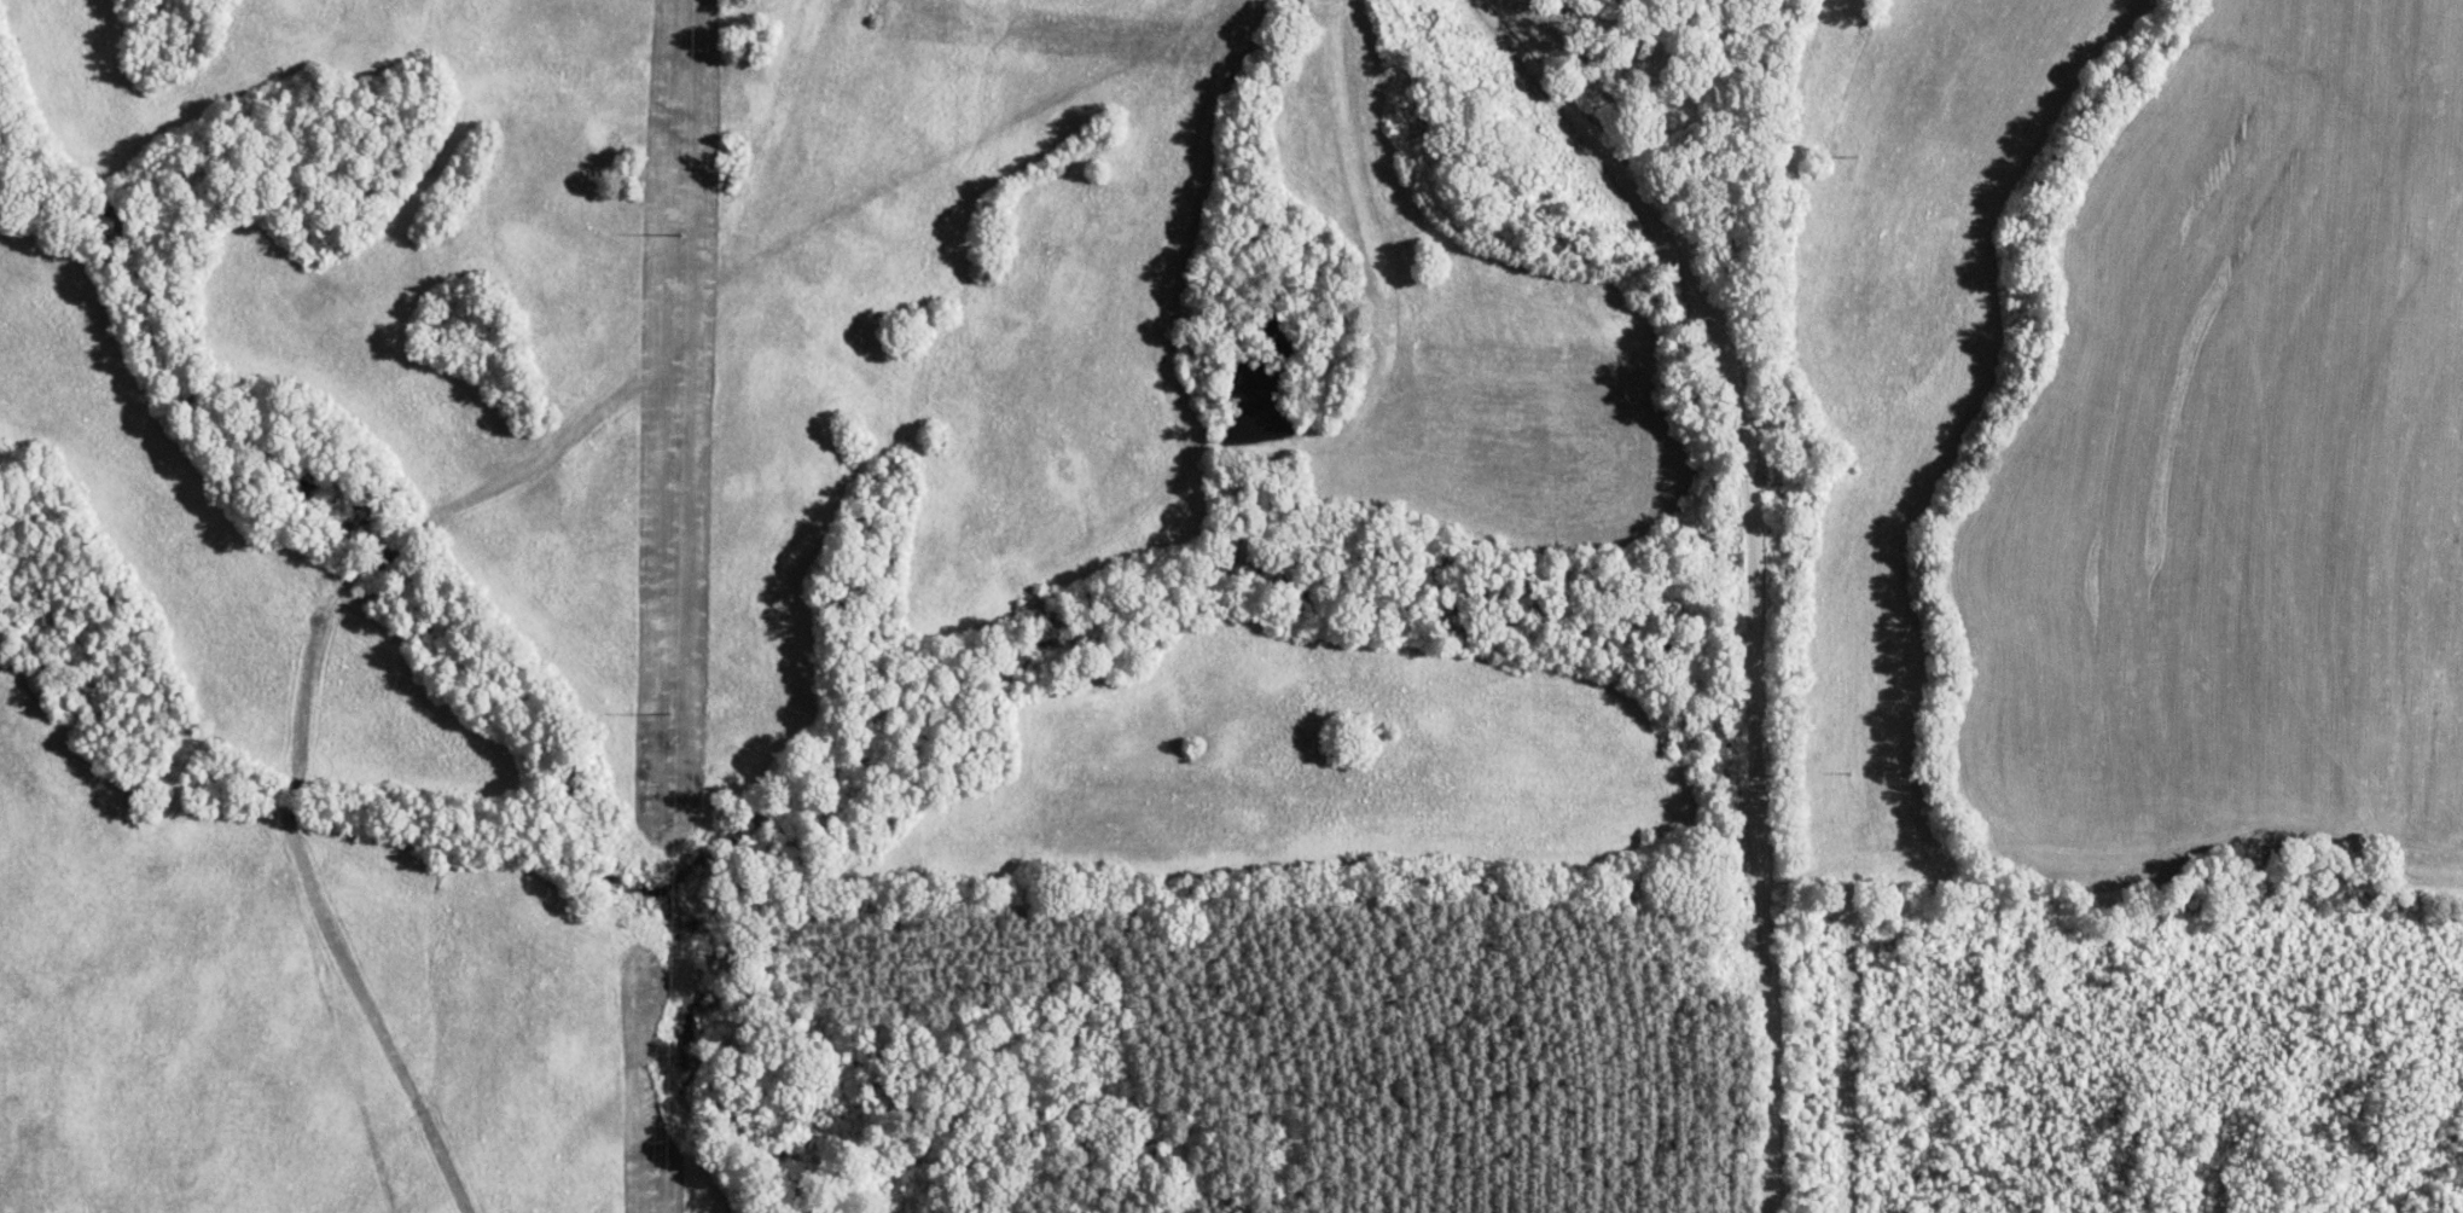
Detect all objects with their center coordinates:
road: (1733, 565)

